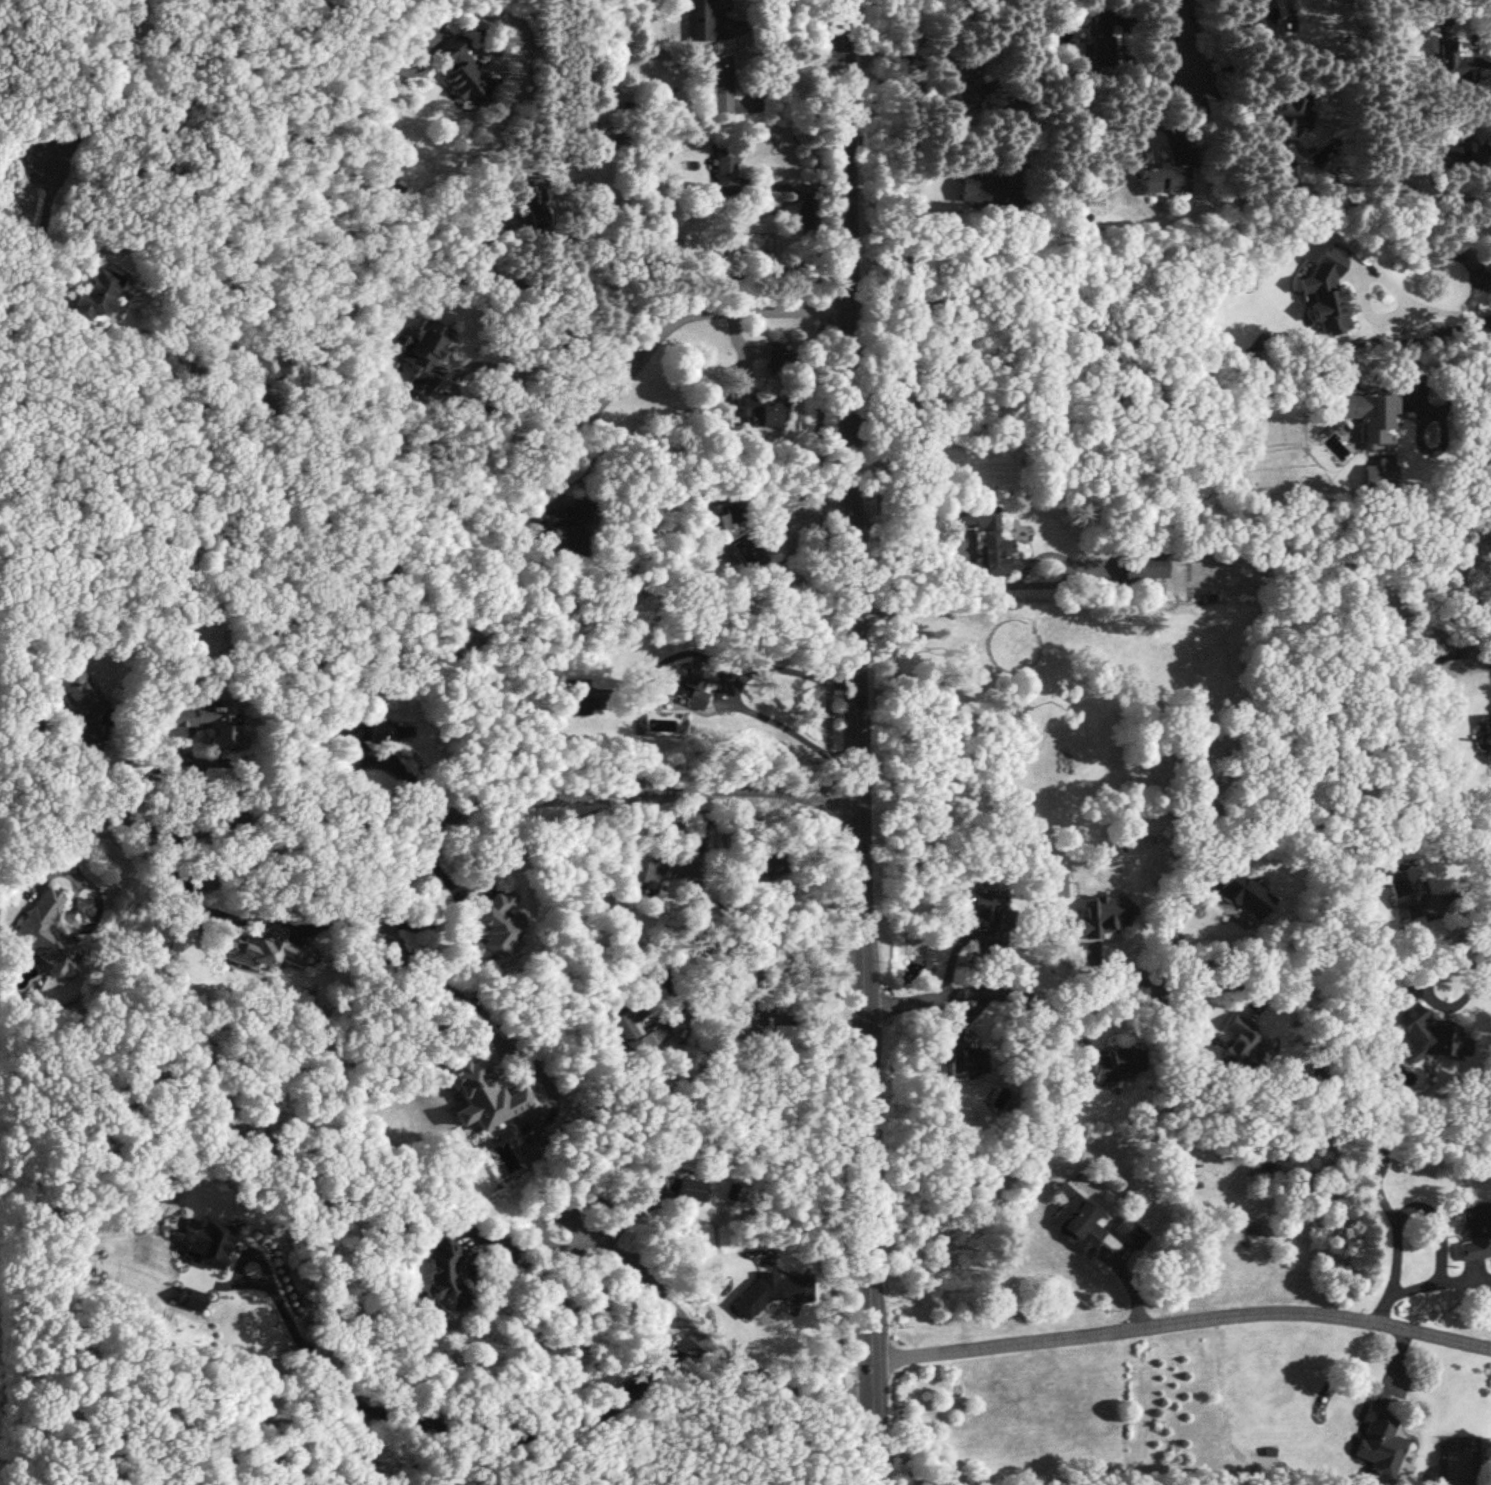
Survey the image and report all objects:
building: (1268, 5)
road: (787, 11)
building: (702, 18)
building: (1416, 27)
building: (1098, 28)
road: (1185, 41)
building: (1448, 59)
road: (787, 70)
building: (459, 73)
building: (718, 84)
road: (1019, 84)
building: (1292, 109)
building: (1454, 135)
road: (70, 140)
building: (724, 169)
building: (1167, 171)
building: (980, 187)
building: (525, 191)
road: (750, 204)
road: (513, 281)
building: (1325, 289)
building: (94, 293)
road: (1437, 310)
road: (636, 359)
building: (778, 359)
road: (521, 381)
road: (1458, 395)
building: (755, 410)
building: (1369, 411)
road: (795, 504)
building: (555, 522)
building: (983, 536)
road: (883, 542)
building: (1141, 567)
road: (1001, 585)
building: (686, 687)
building: (72, 694)
road: (733, 697)
building: (576, 706)
building: (221, 726)
building: (371, 733)
building: (1487, 736)
road: (827, 741)
road: (854, 742)
road: (179, 753)
road: (470, 808)
building: (761, 865)
building: (645, 869)
building: (203, 879)
building: (1241, 895)
road: (1461, 895)
road: (720, 901)
building: (983, 908)
road: (65, 911)
road: (453, 913)
building: (1102, 917)
road: (252, 918)
building: (496, 921)
road: (1176, 932)
building: (43, 933)
road: (394, 945)
road: (703, 945)
road: (812, 949)
building: (258, 951)
road: (1207, 984)
road: (1473, 990)
road: (1010, 994)
building: (625, 1025)
building: (1237, 1046)
building: (961, 1058)
building: (1110, 1064)
building: (482, 1097)
building: (679, 1185)
road: (614, 1198)
building: (1074, 1218)
road: (1438, 1225)
building: (1475, 1232)
building: (444, 1278)
road: (1182, 1322)
road: (703, 1335)
road: (416, 1423)
building: (1377, 1441)

